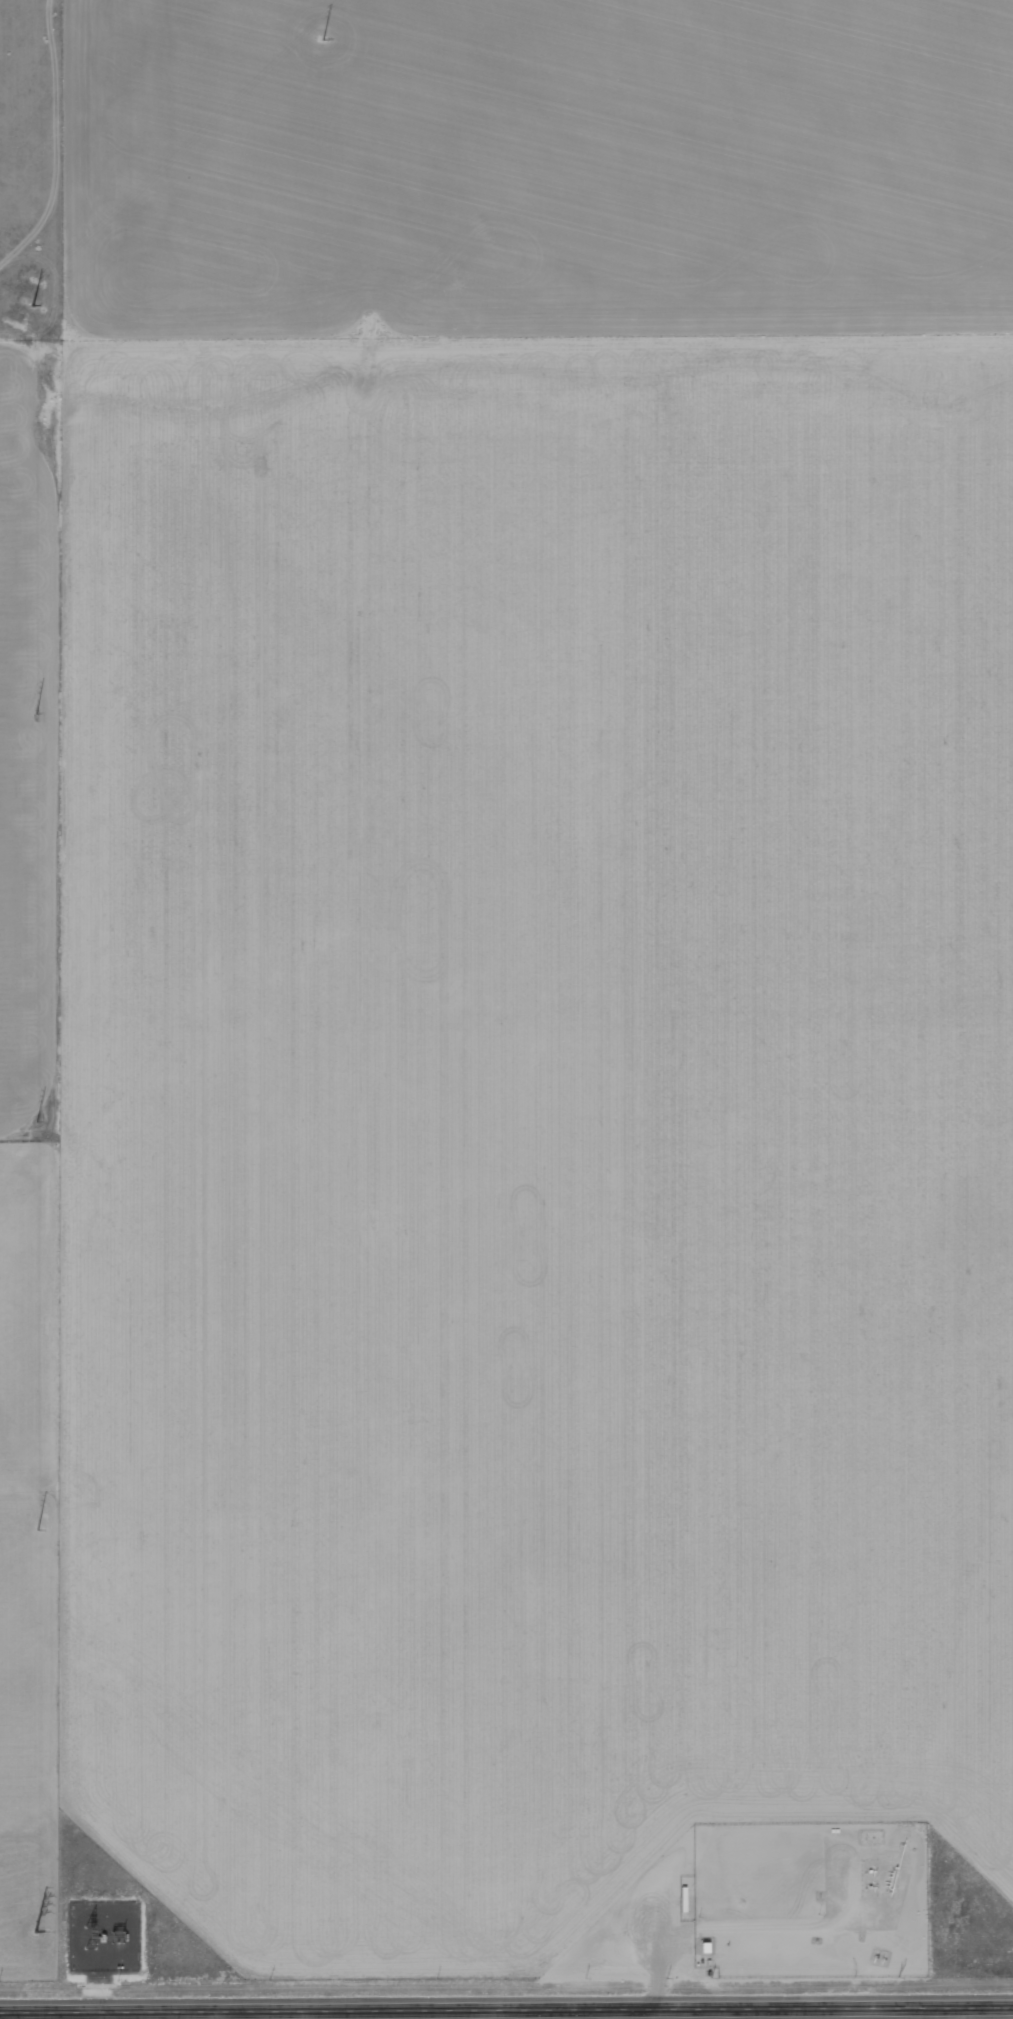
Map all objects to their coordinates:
power tower: (321, 39)
power tower: (32, 306)
power tower: (34, 714)
power tower: (33, 1121)
power tower: (35, 1528)
power tower: (34, 1934)
power substation: (100, 1936)
road: (506, 2009)
road: (605, 2014)
road: (241, 2015)

